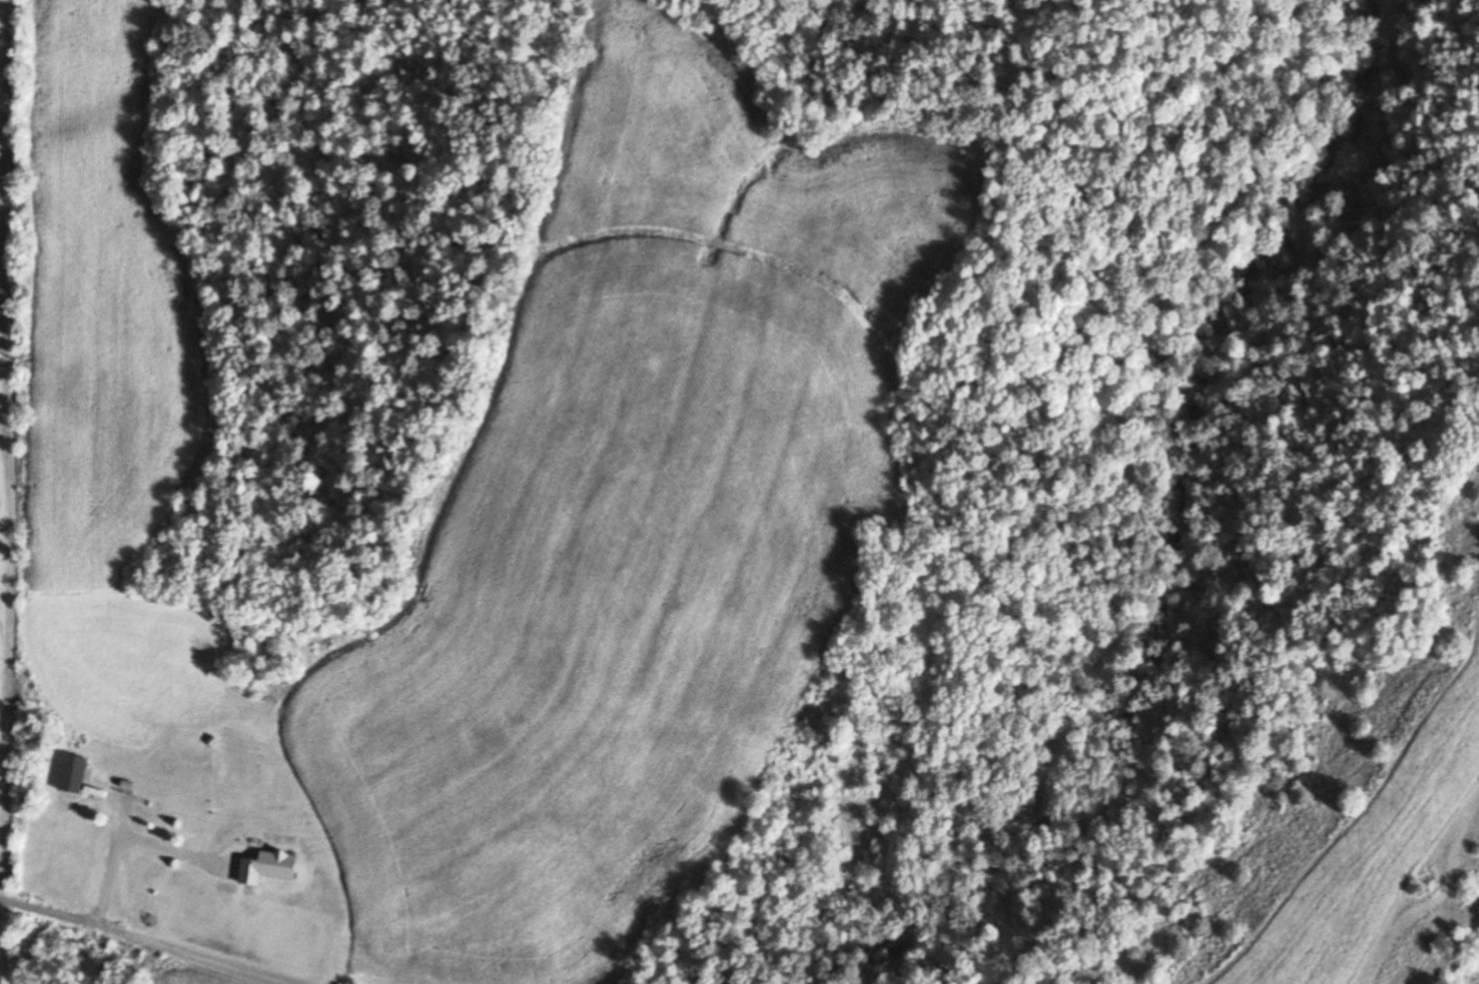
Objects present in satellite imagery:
road: (733, 650)
building: (77, 776)
building: (251, 814)

